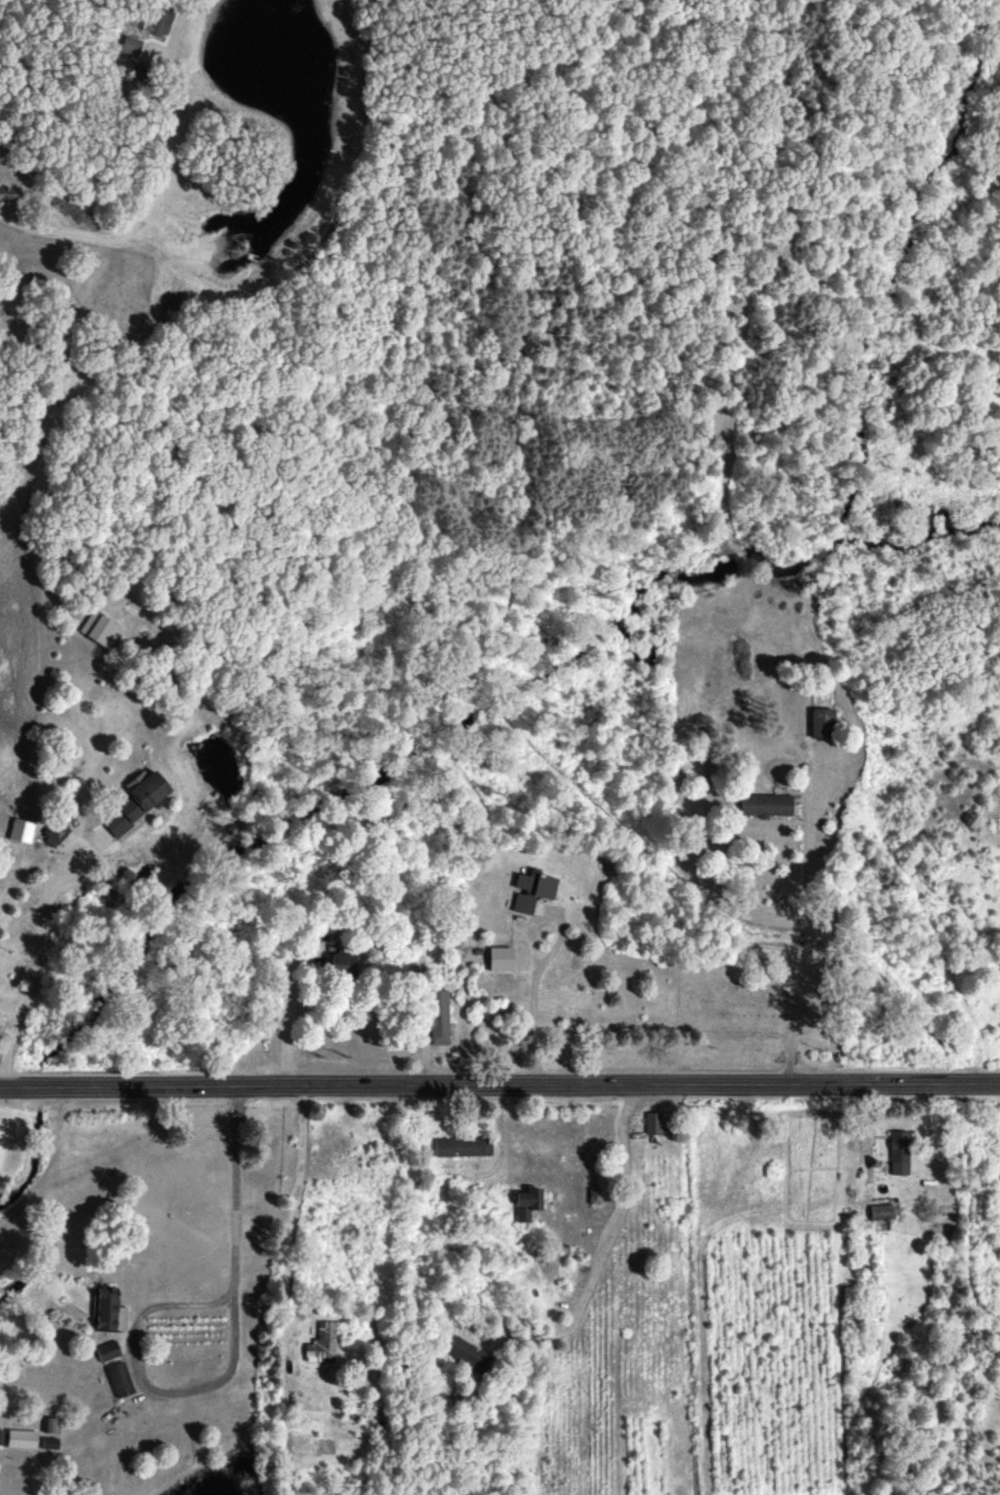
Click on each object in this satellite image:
building: (158, 21)
building: (129, 45)
building: (7, 193)
road: (23, 496)
building: (98, 629)
building: (819, 722)
building: (134, 800)
building: (763, 803)
building: (18, 830)
building: (54, 832)
building: (534, 884)
building: (520, 903)
road: (809, 942)
road: (530, 949)
building: (498, 958)
building: (339, 963)
road: (35, 969)
building: (437, 1016)
road: (287, 1036)
road: (499, 1086)
building: (651, 1122)
building: (460, 1145)
building: (897, 1152)
building: (593, 1196)
building: (525, 1201)
road: (300, 1207)
building: (878, 1211)
building: (107, 1308)
building: (321, 1341)
building: (105, 1349)
building: (465, 1353)
road: (236, 1362)
building: (117, 1378)
building: (49, 1423)
building: (18, 1437)
building: (46, 1441)

